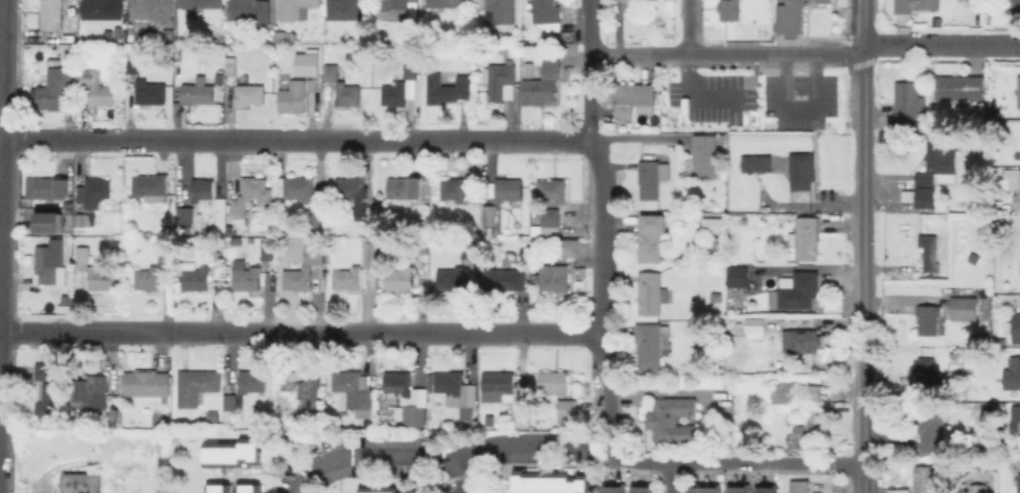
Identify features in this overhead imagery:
building: (822, 1)
building: (635, 2)
building: (202, 3)
building: (447, 3)
building: (918, 6)
building: (1013, 6)
building: (296, 8)
building: (104, 9)
building: (395, 9)
building: (730, 9)
building: (251, 10)
building: (350, 10)
building: (155, 11)
building: (501, 11)
building: (547, 11)
building: (53, 14)
building: (789, 16)
road: (864, 24)
road: (688, 27)
building: (169, 33)
building: (120, 34)
building: (282, 34)
road: (933, 45)
road: (1005, 45)
road: (734, 54)
building: (134, 65)
building: (232, 65)
building: (310, 65)
building: (529, 69)
building: (411, 70)
building: (220, 79)
building: (502, 80)
building: (344, 85)
building: (98, 87)
building: (57, 88)
building: (448, 88)
building: (543, 88)
building: (960, 90)
building: (151, 92)
building: (198, 93)
building: (1018, 93)
building: (251, 94)
building: (394, 97)
road: (2, 99)
building: (296, 99)
building: (634, 99)
building: (907, 105)
road: (1, 129)
road: (637, 135)
road: (42, 139)
road: (338, 141)
building: (706, 156)
building: (943, 161)
building: (755, 162)
building: (802, 170)
building: (653, 177)
building: (1013, 183)
building: (156, 187)
building: (351, 187)
building: (49, 188)
building: (300, 188)
building: (406, 188)
building: (509, 188)
building: (202, 189)
building: (454, 189)
building: (553, 189)
building: (93, 192)
building: (925, 192)
building: (906, 195)
building: (252, 197)
road: (864, 210)
building: (186, 215)
building: (319, 216)
building: (49, 217)
building: (489, 218)
building: (81, 219)
building: (369, 220)
building: (716, 224)
building: (549, 225)
building: (423, 226)
road: (604, 230)
building: (654, 236)
building: (806, 237)
building: (237, 241)
building: (570, 247)
building: (271, 251)
building: (929, 251)
building: (465, 252)
building: (84, 253)
building: (1018, 263)
building: (46, 264)
building: (308, 270)
building: (357, 270)
building: (154, 271)
building: (456, 274)
building: (738, 275)
building: (555, 276)
building: (248, 277)
building: (100, 278)
building: (197, 278)
building: (401, 278)
building: (506, 278)
building: (796, 290)
building: (651, 292)
building: (717, 296)
building: (965, 308)
building: (929, 318)
building: (753, 326)
building: (1014, 327)
road: (302, 332)
building: (802, 340)
building: (653, 343)
building: (926, 373)
building: (1013, 375)
building: (253, 381)
building: (450, 382)
building: (500, 383)
building: (198, 384)
building: (553, 384)
building: (149, 385)
building: (400, 385)
building: (52, 387)
building: (308, 387)
building: (353, 391)
building: (91, 393)
building: (797, 394)
building: (234, 402)
building: (568, 408)
building: (467, 412)
building: (115, 413)
building: (213, 414)
building: (519, 414)
building: (415, 415)
building: (1013, 416)
building: (157, 419)
building: (676, 421)
building: (1016, 423)
building: (933, 429)
building: (809, 430)
road: (864, 433)
building: (231, 455)
road: (437, 458)
road: (736, 462)
road: (462, 476)
road: (672, 477)
building: (930, 480)
building: (1019, 482)
building: (82, 483)
building: (548, 485)
building: (801, 486)
building: (233, 488)
building: (979, 488)
building: (616, 491)
building: (644, 491)
building: (706, 491)
building: (740, 491)
building: (768, 491)
building: (378, 492)

